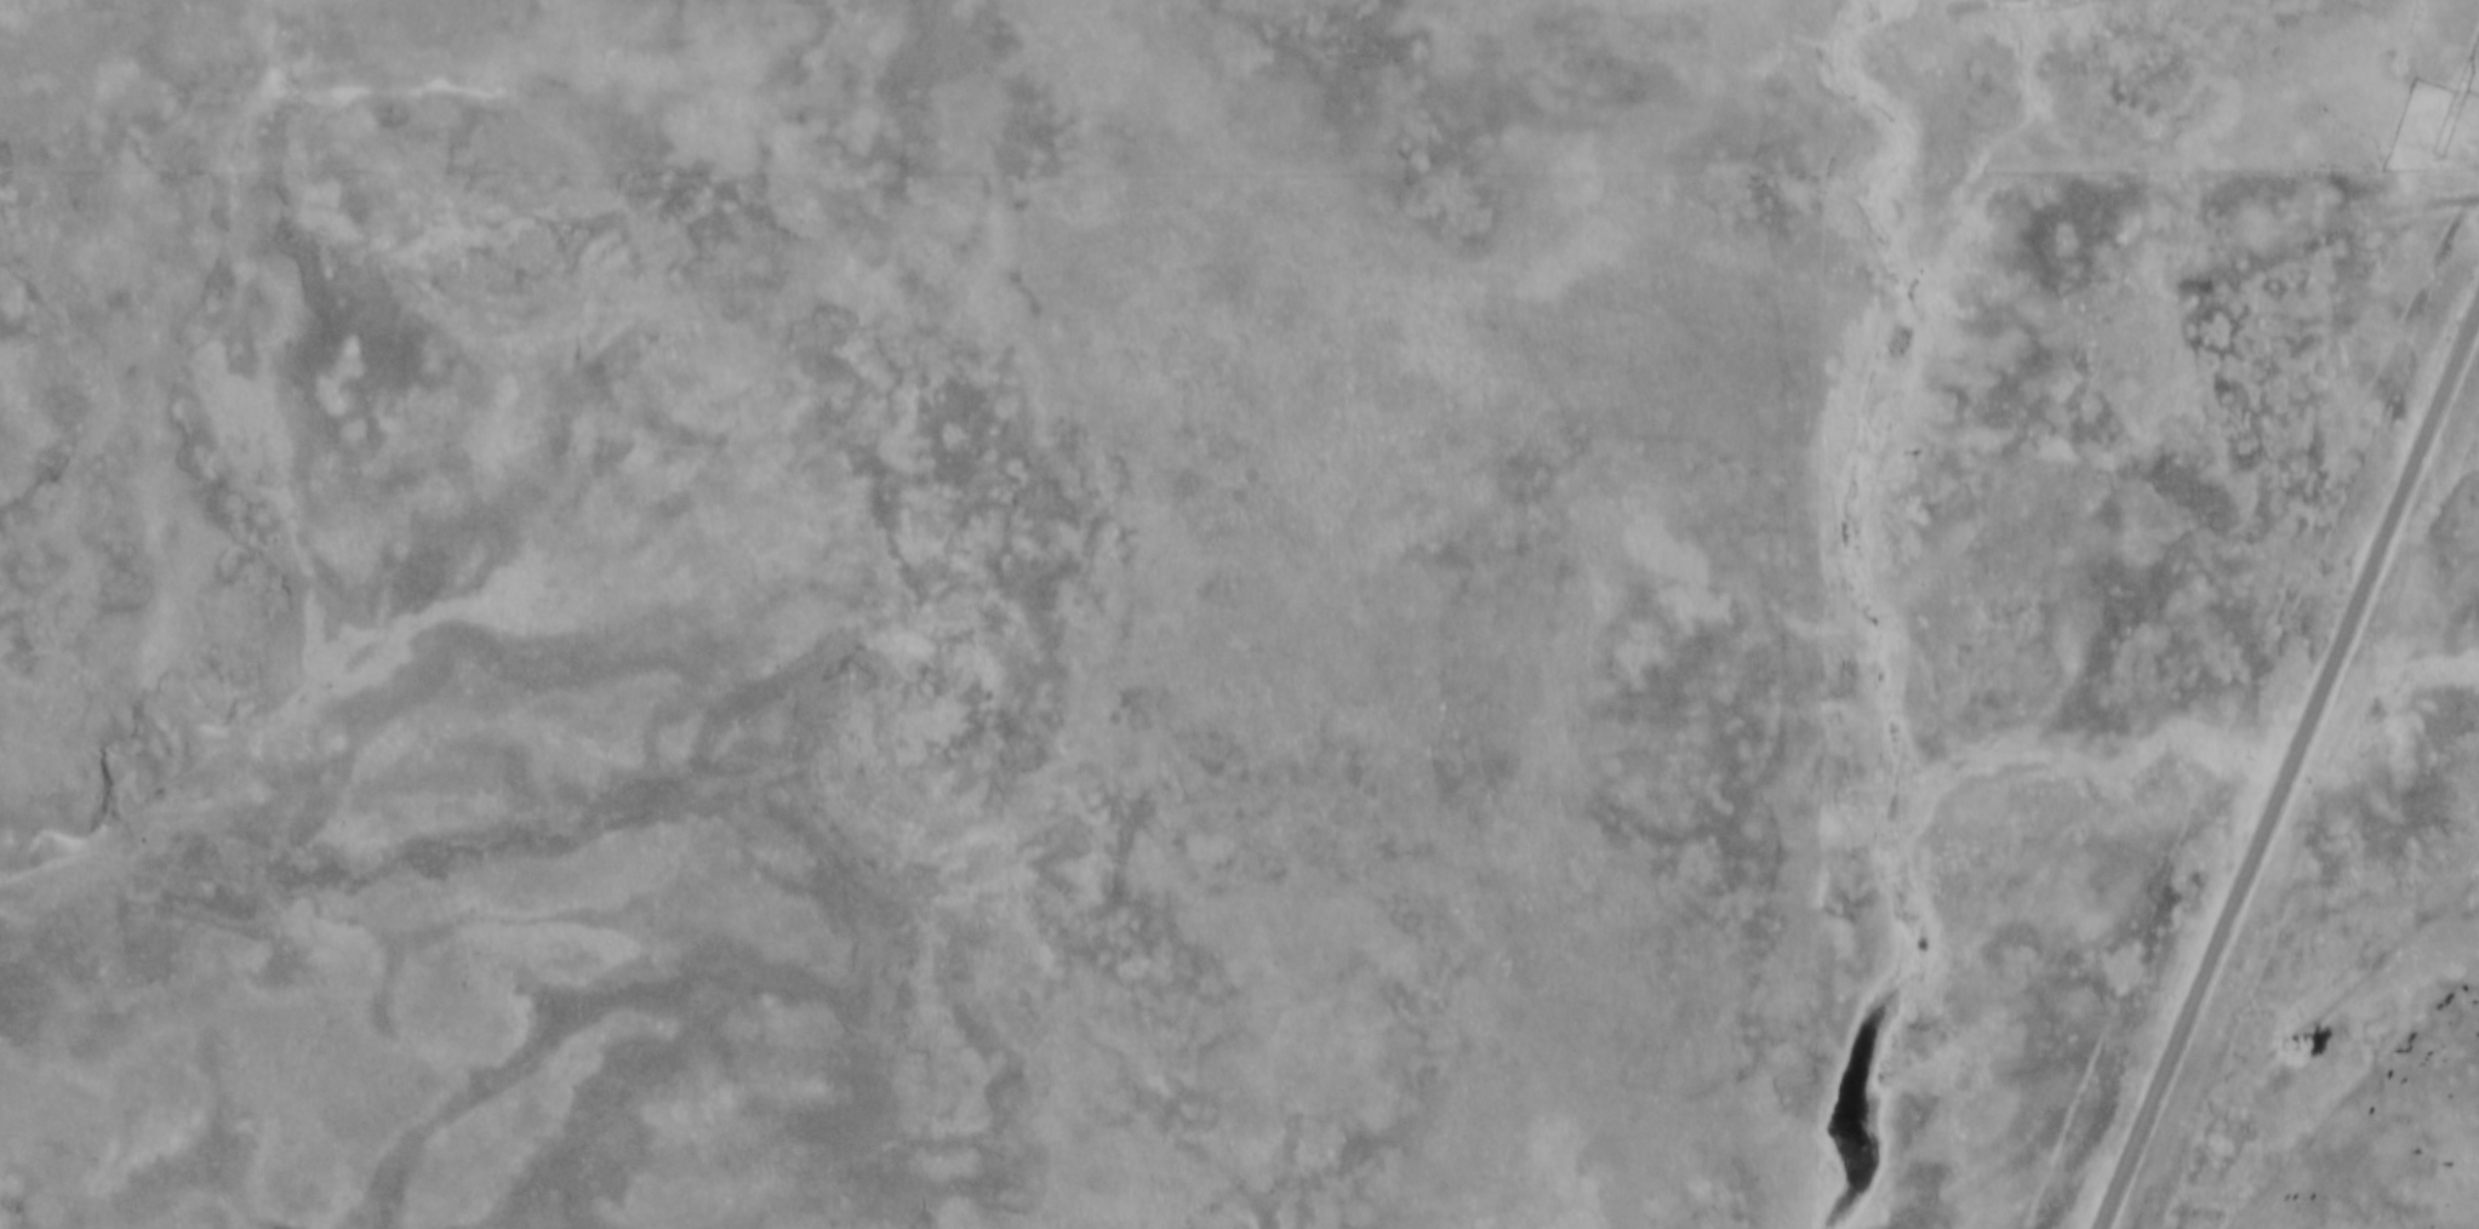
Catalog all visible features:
road: (2290, 768)

